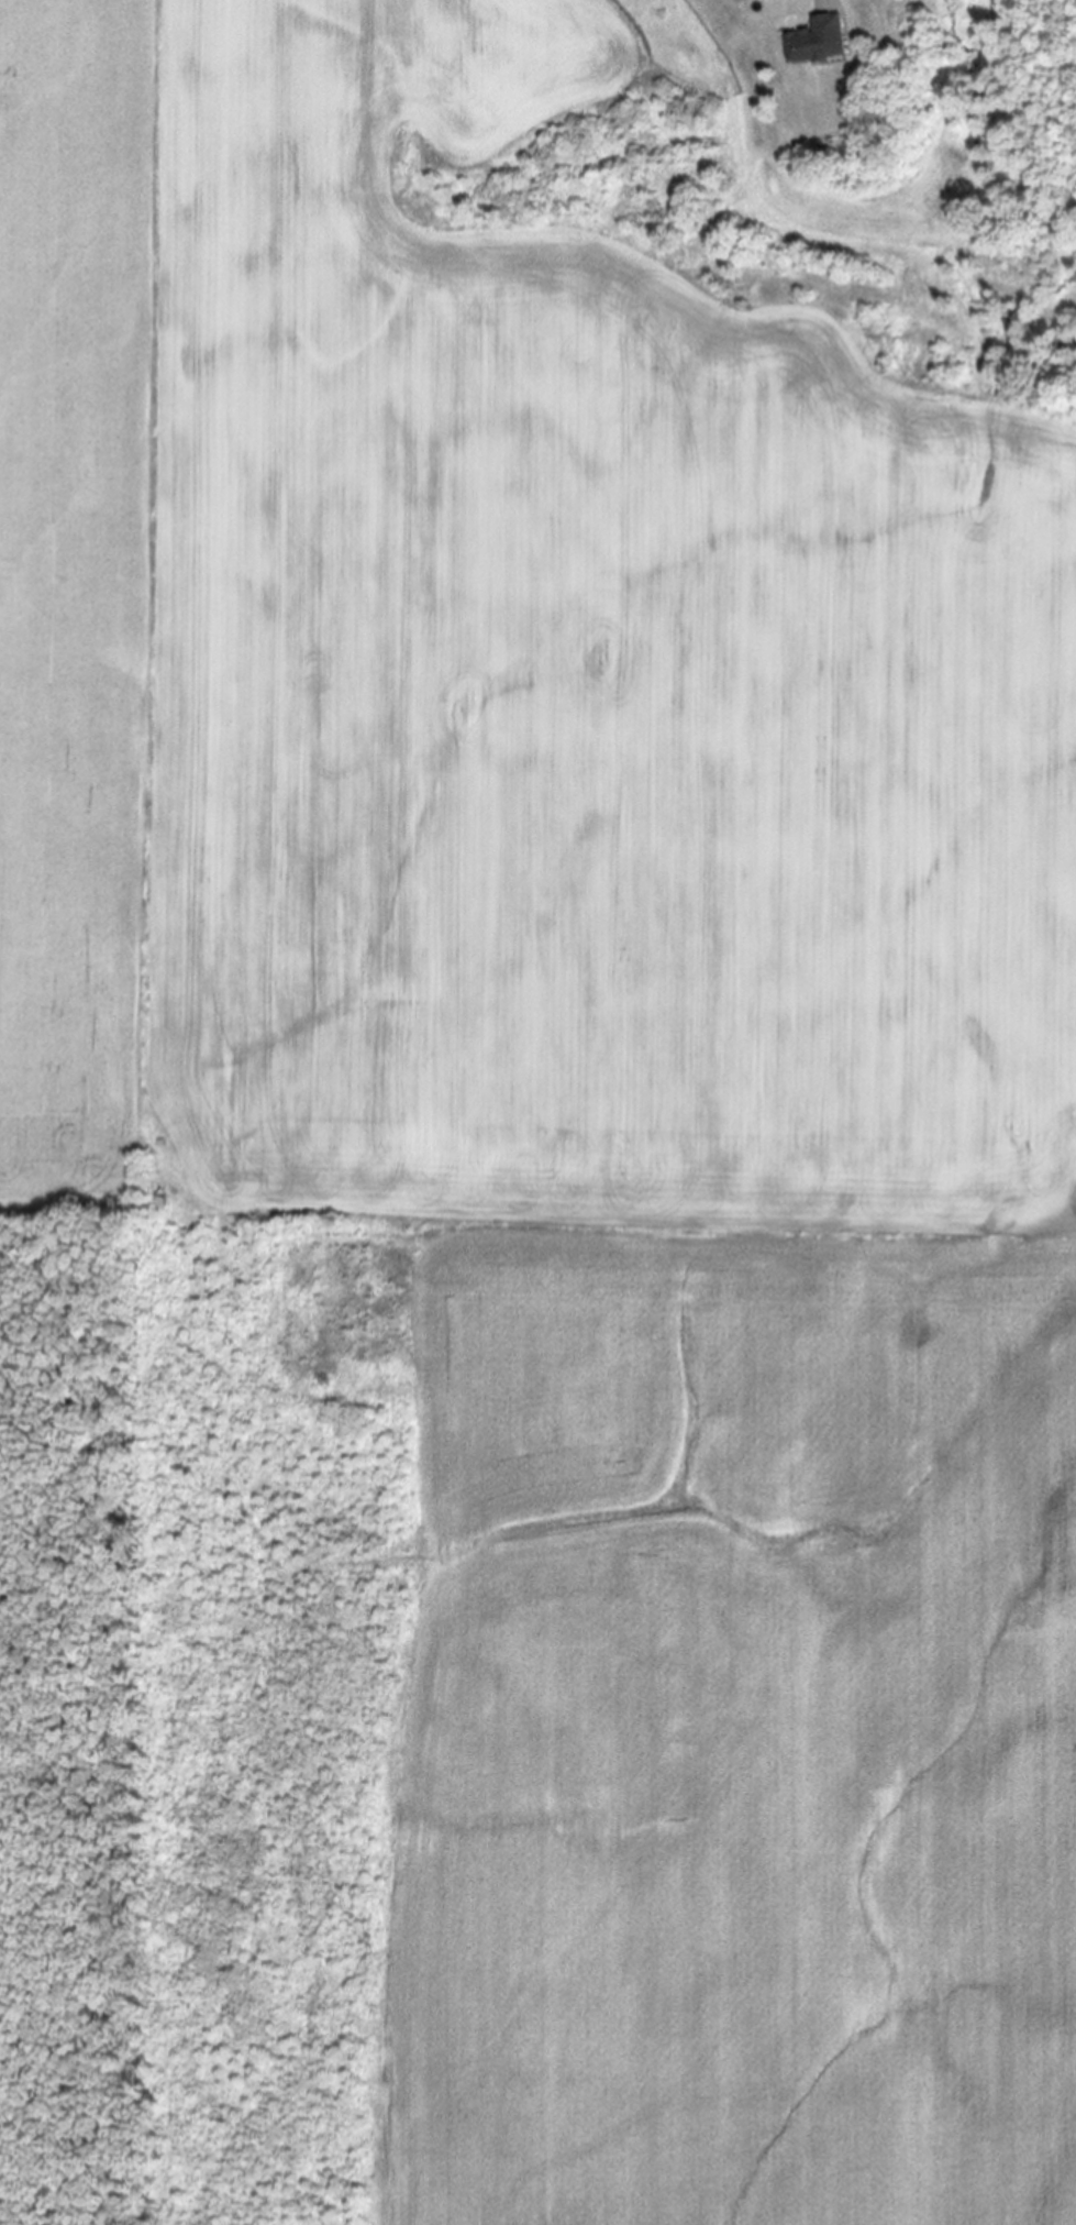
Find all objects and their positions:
building: (812, 42)

